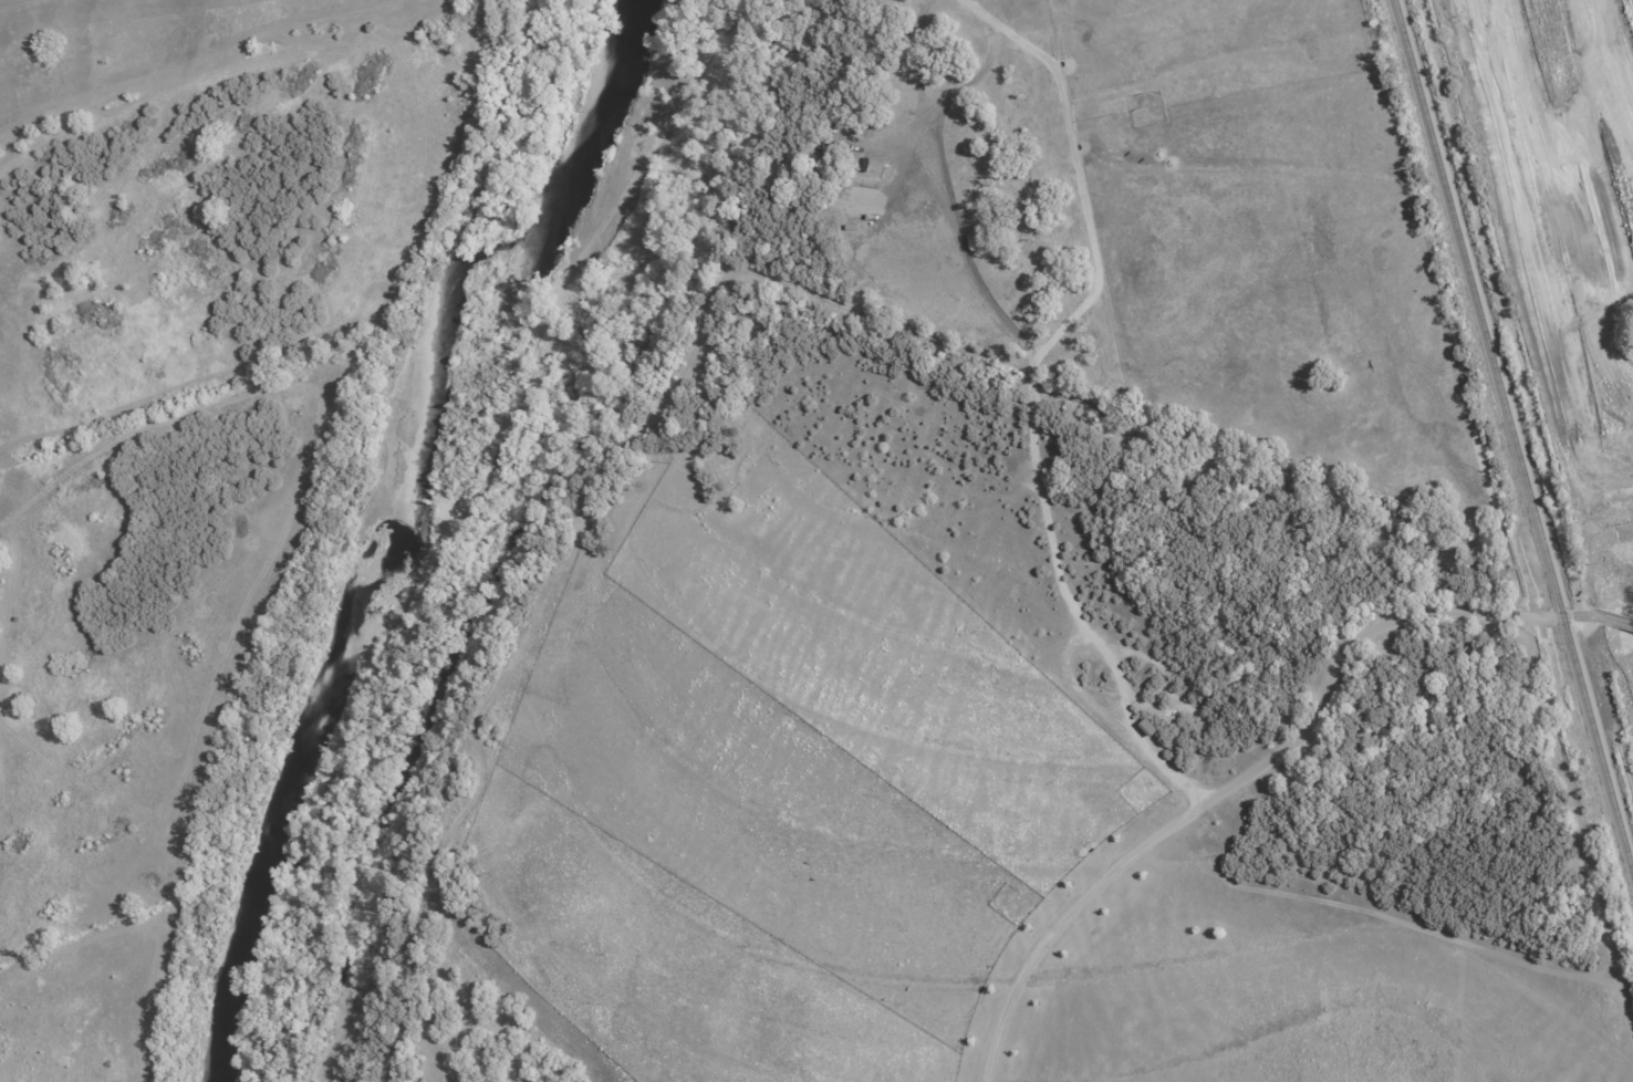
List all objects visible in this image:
railway: (1515, 434)
river: (396, 527)
road: (1604, 621)
road: (1241, 777)

